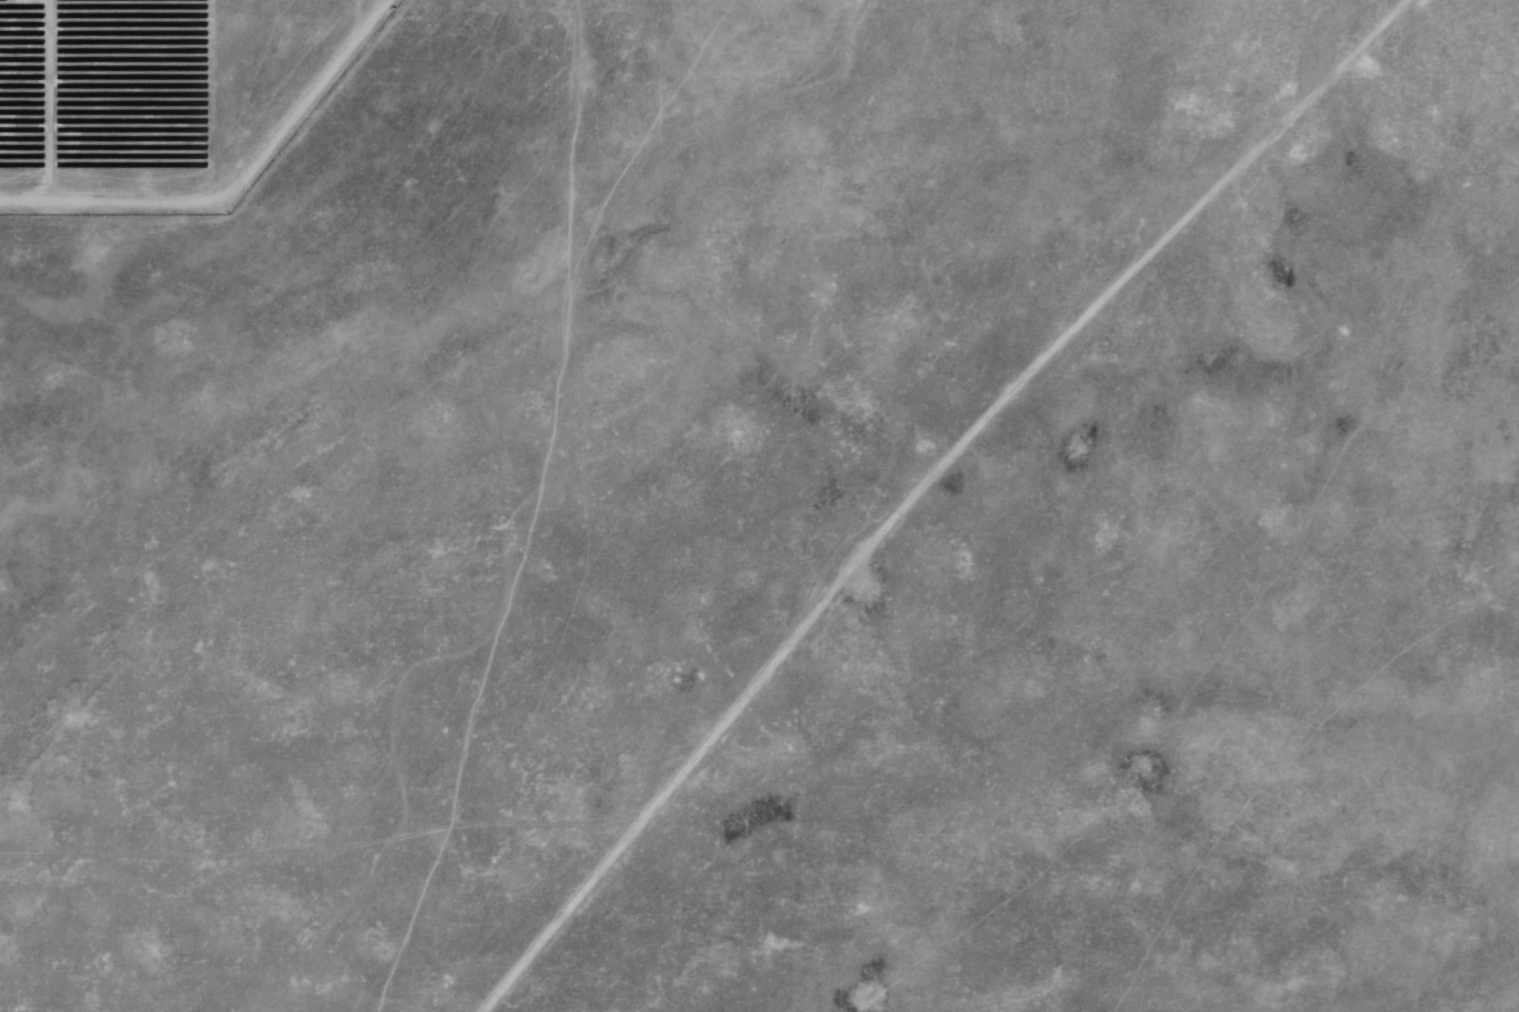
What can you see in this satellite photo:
solar farm: (295, 176)
road: (925, 485)

